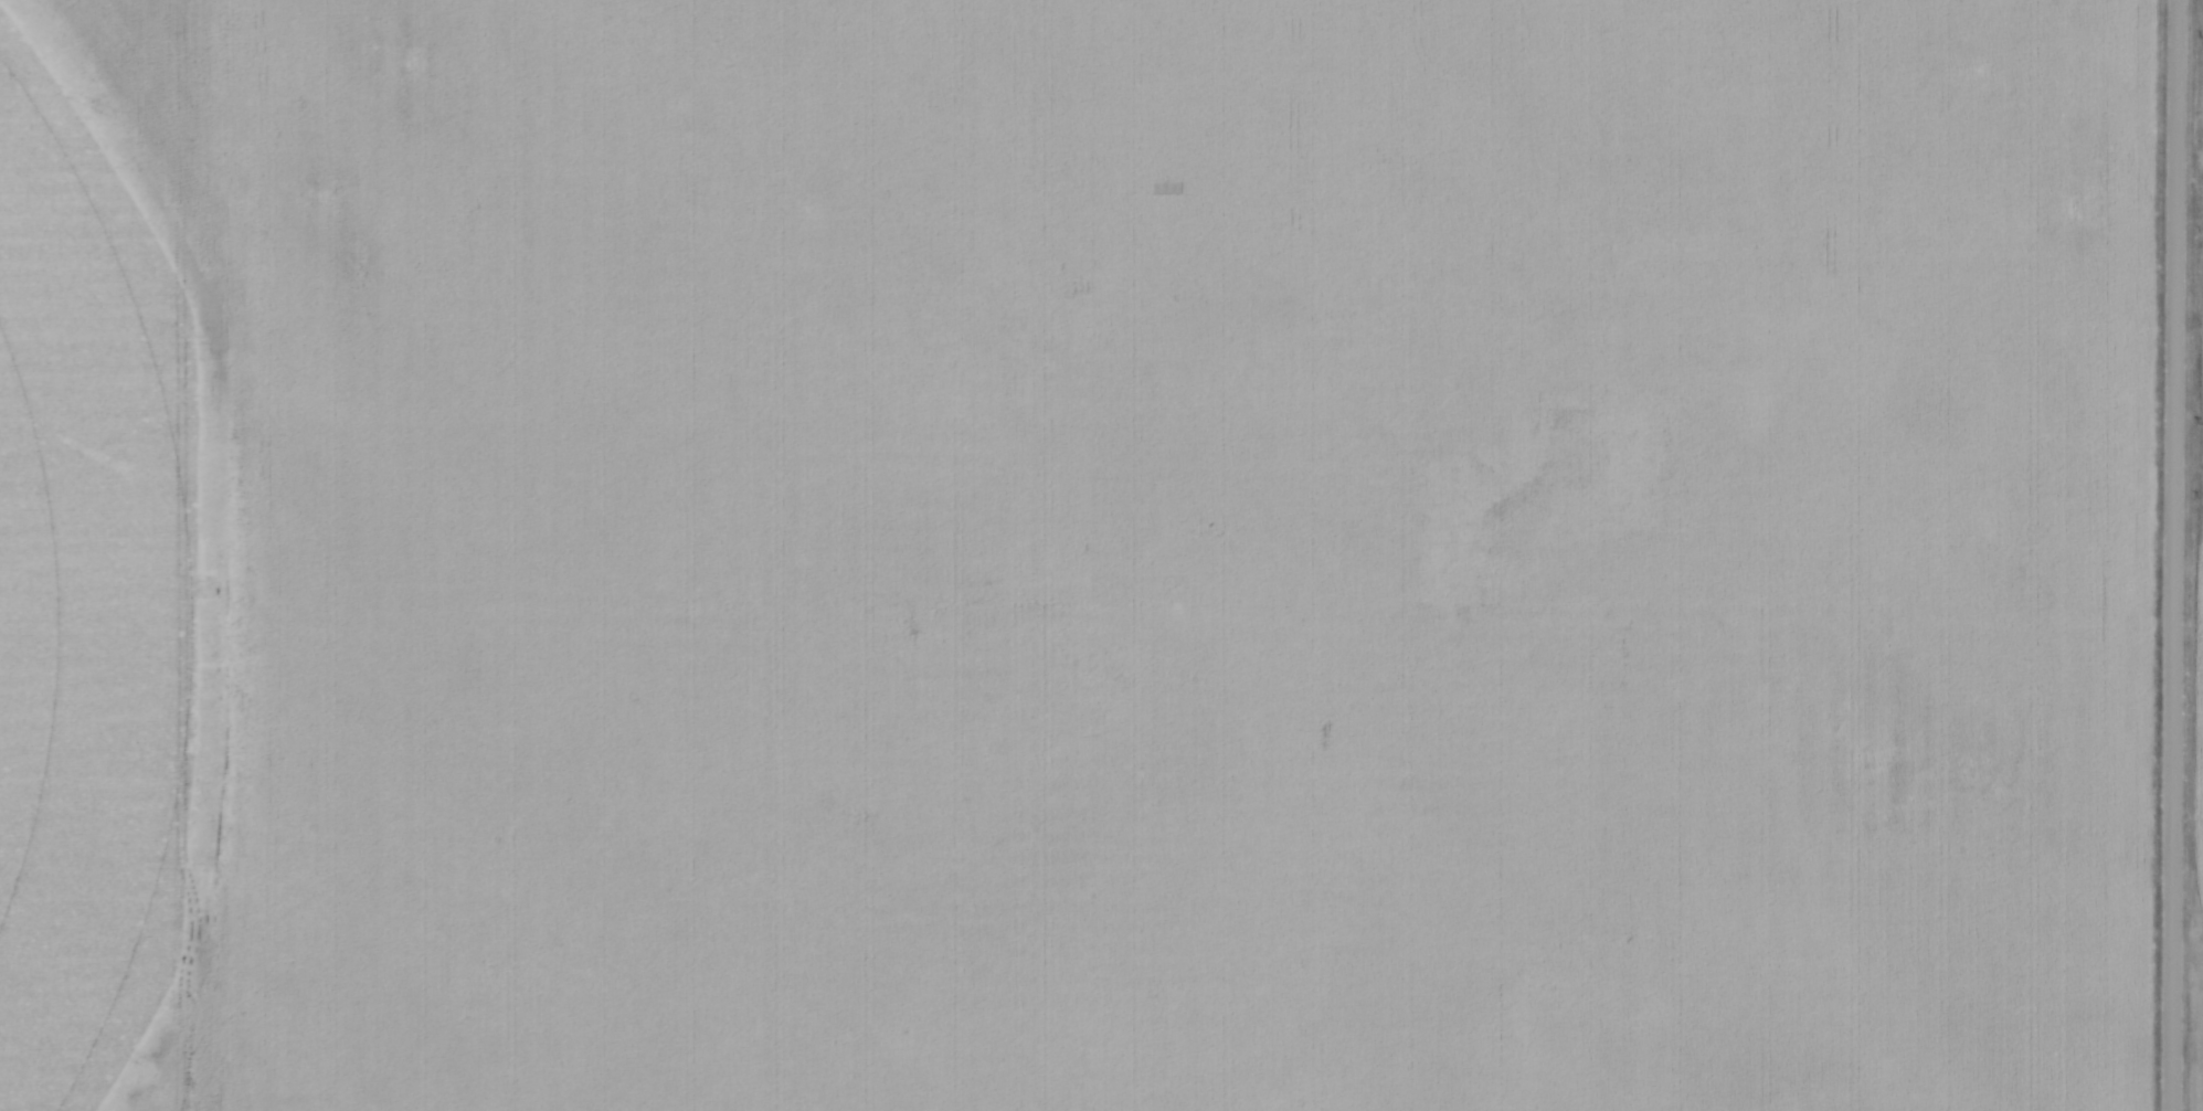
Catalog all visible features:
road: (2176, 555)

